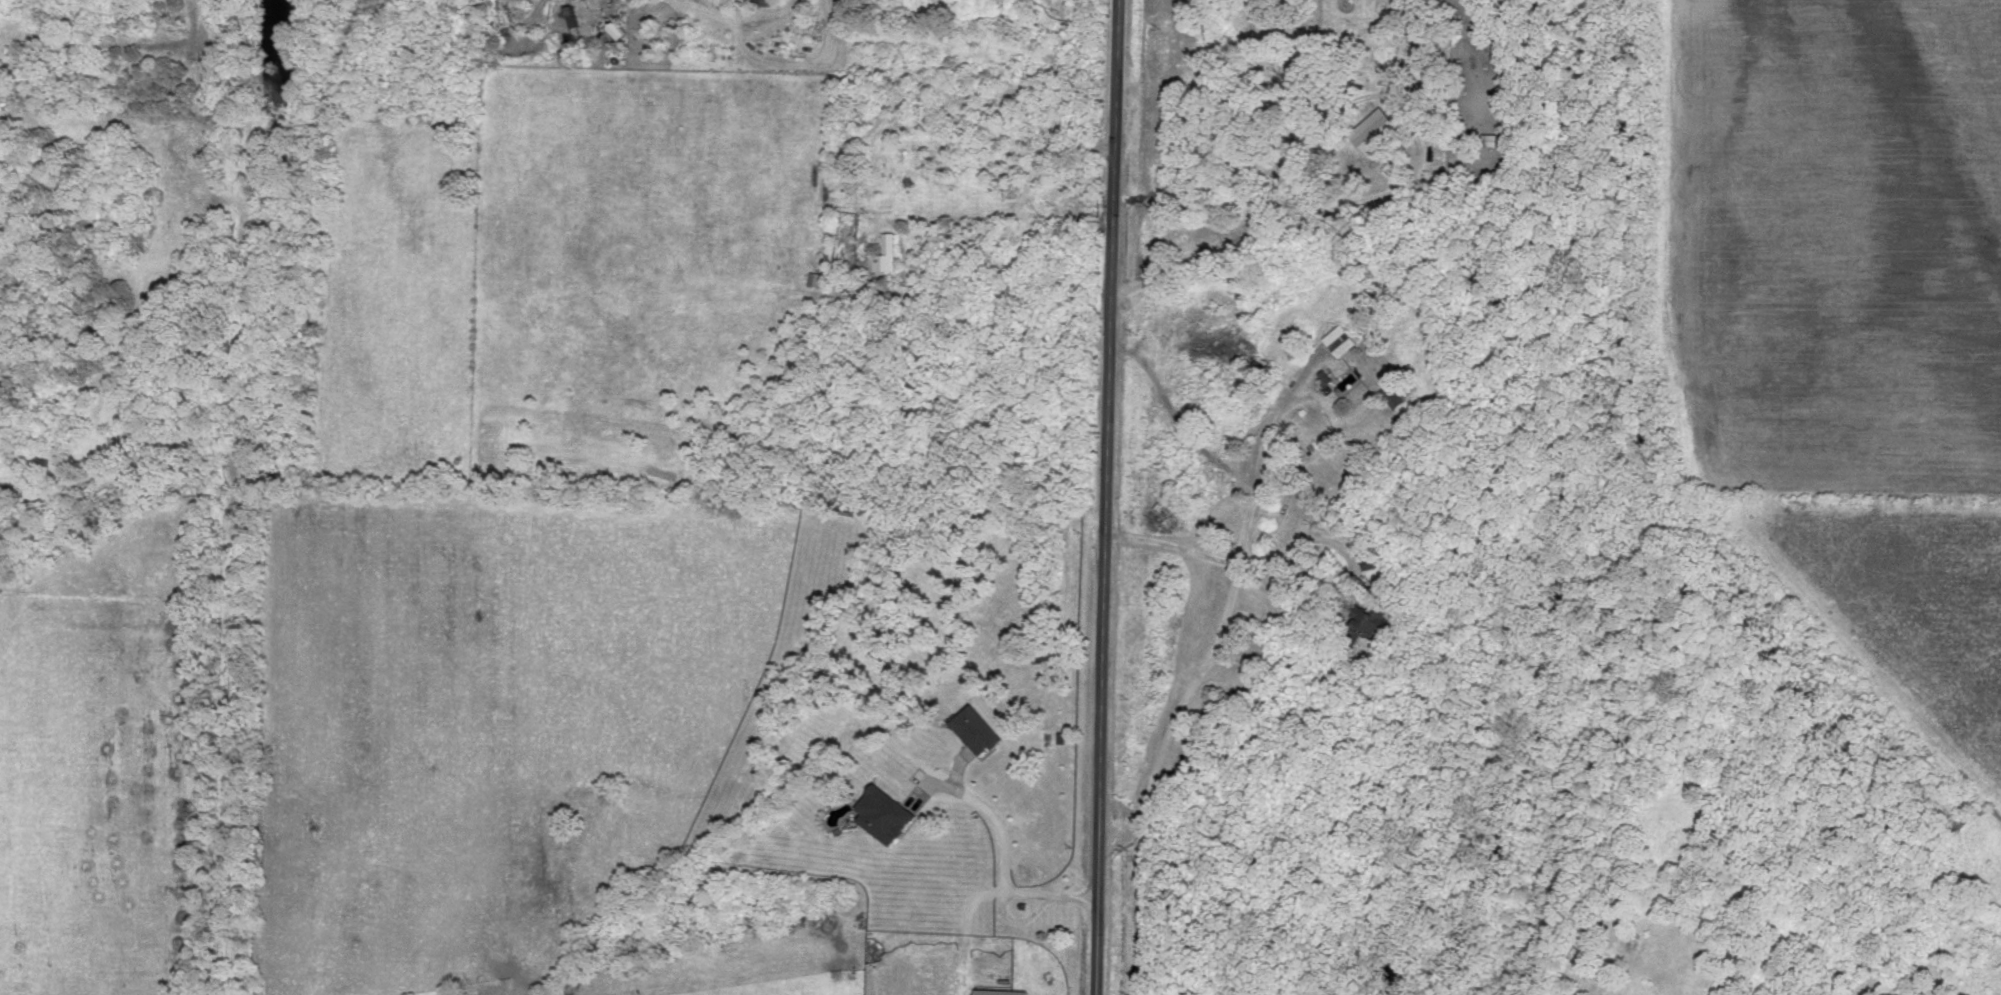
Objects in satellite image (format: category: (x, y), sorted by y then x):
building: (772, 1)
building: (1378, 129)
building: (888, 252)
building: (816, 277)
building: (1342, 339)
building: (1395, 397)
railway: (229, 497)
road: (1105, 497)
building: (1374, 615)
road: (1200, 673)
building: (978, 728)
building: (888, 813)
road: (1003, 869)
building: (1004, 991)

